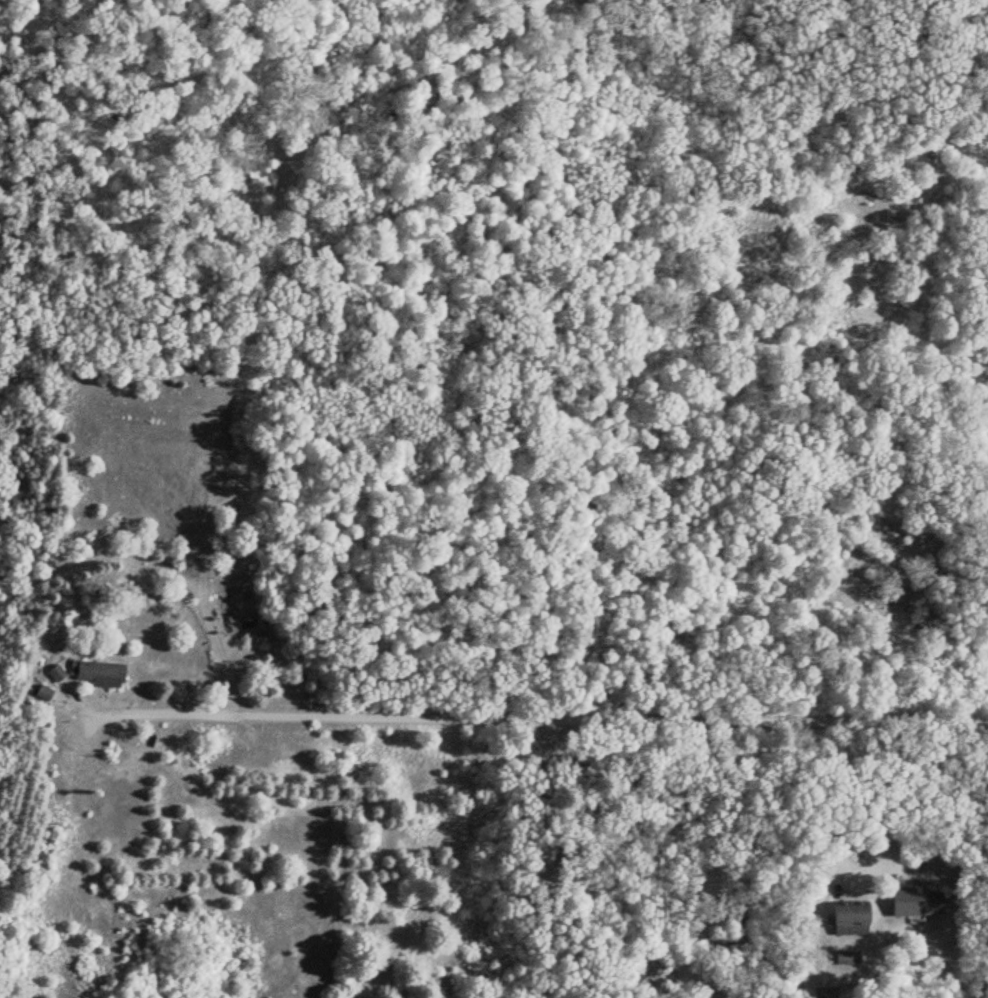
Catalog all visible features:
building: (99, 674)
road: (534, 695)
road: (430, 845)
road: (529, 846)
road: (838, 859)
building: (913, 903)

